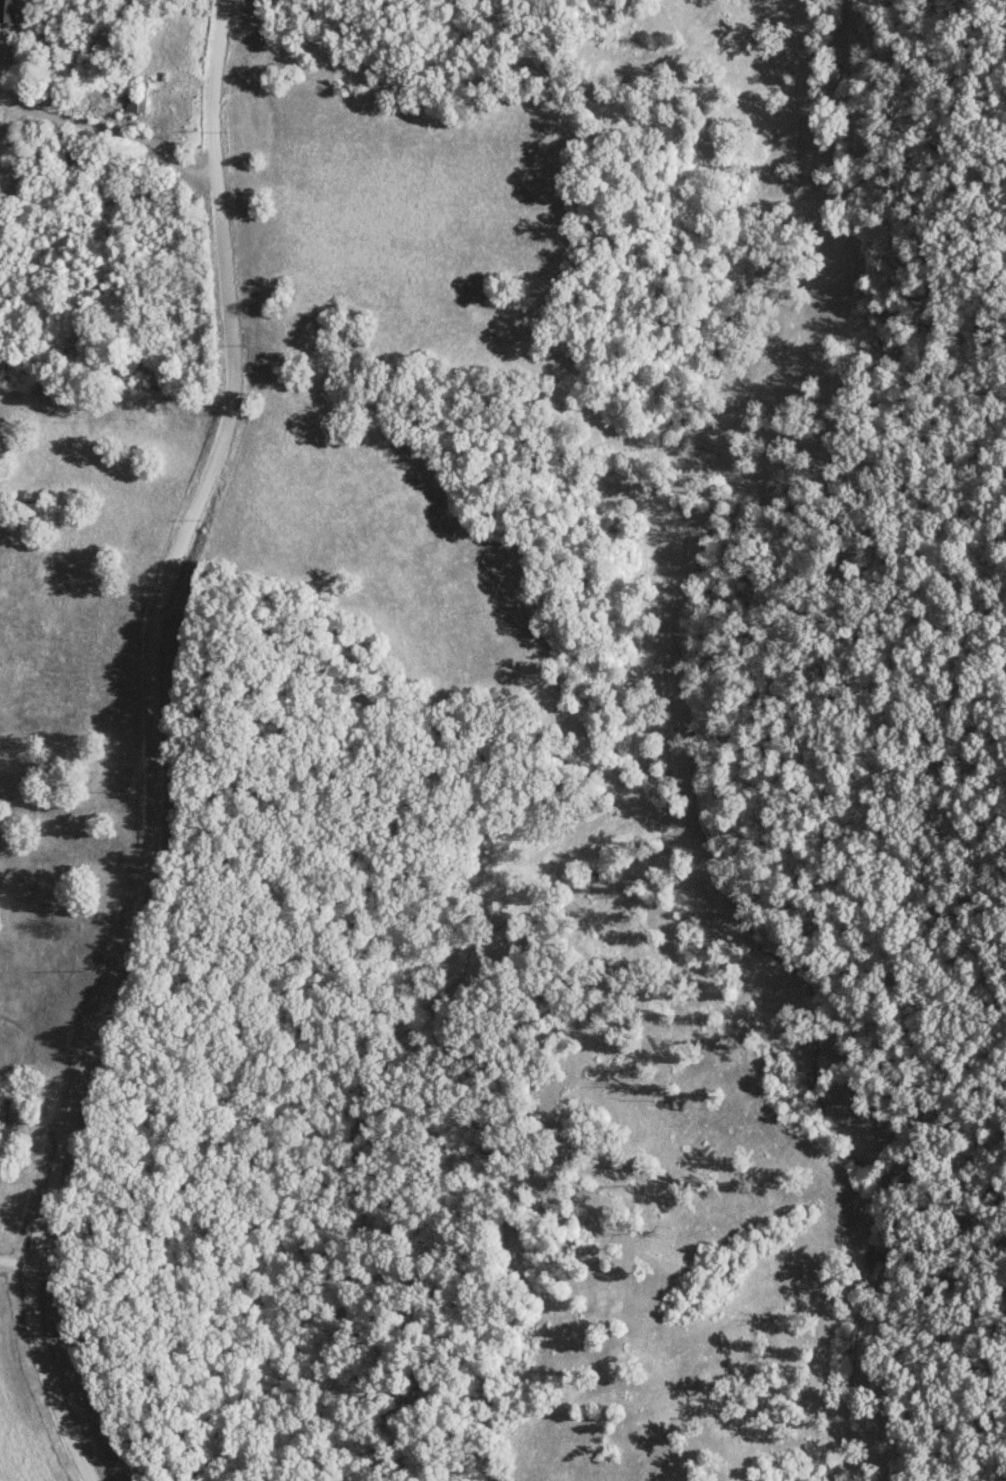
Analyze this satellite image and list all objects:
building: (6, 10)
building: (139, 97)
road: (113, 129)
road: (151, 746)
road: (17, 1262)

